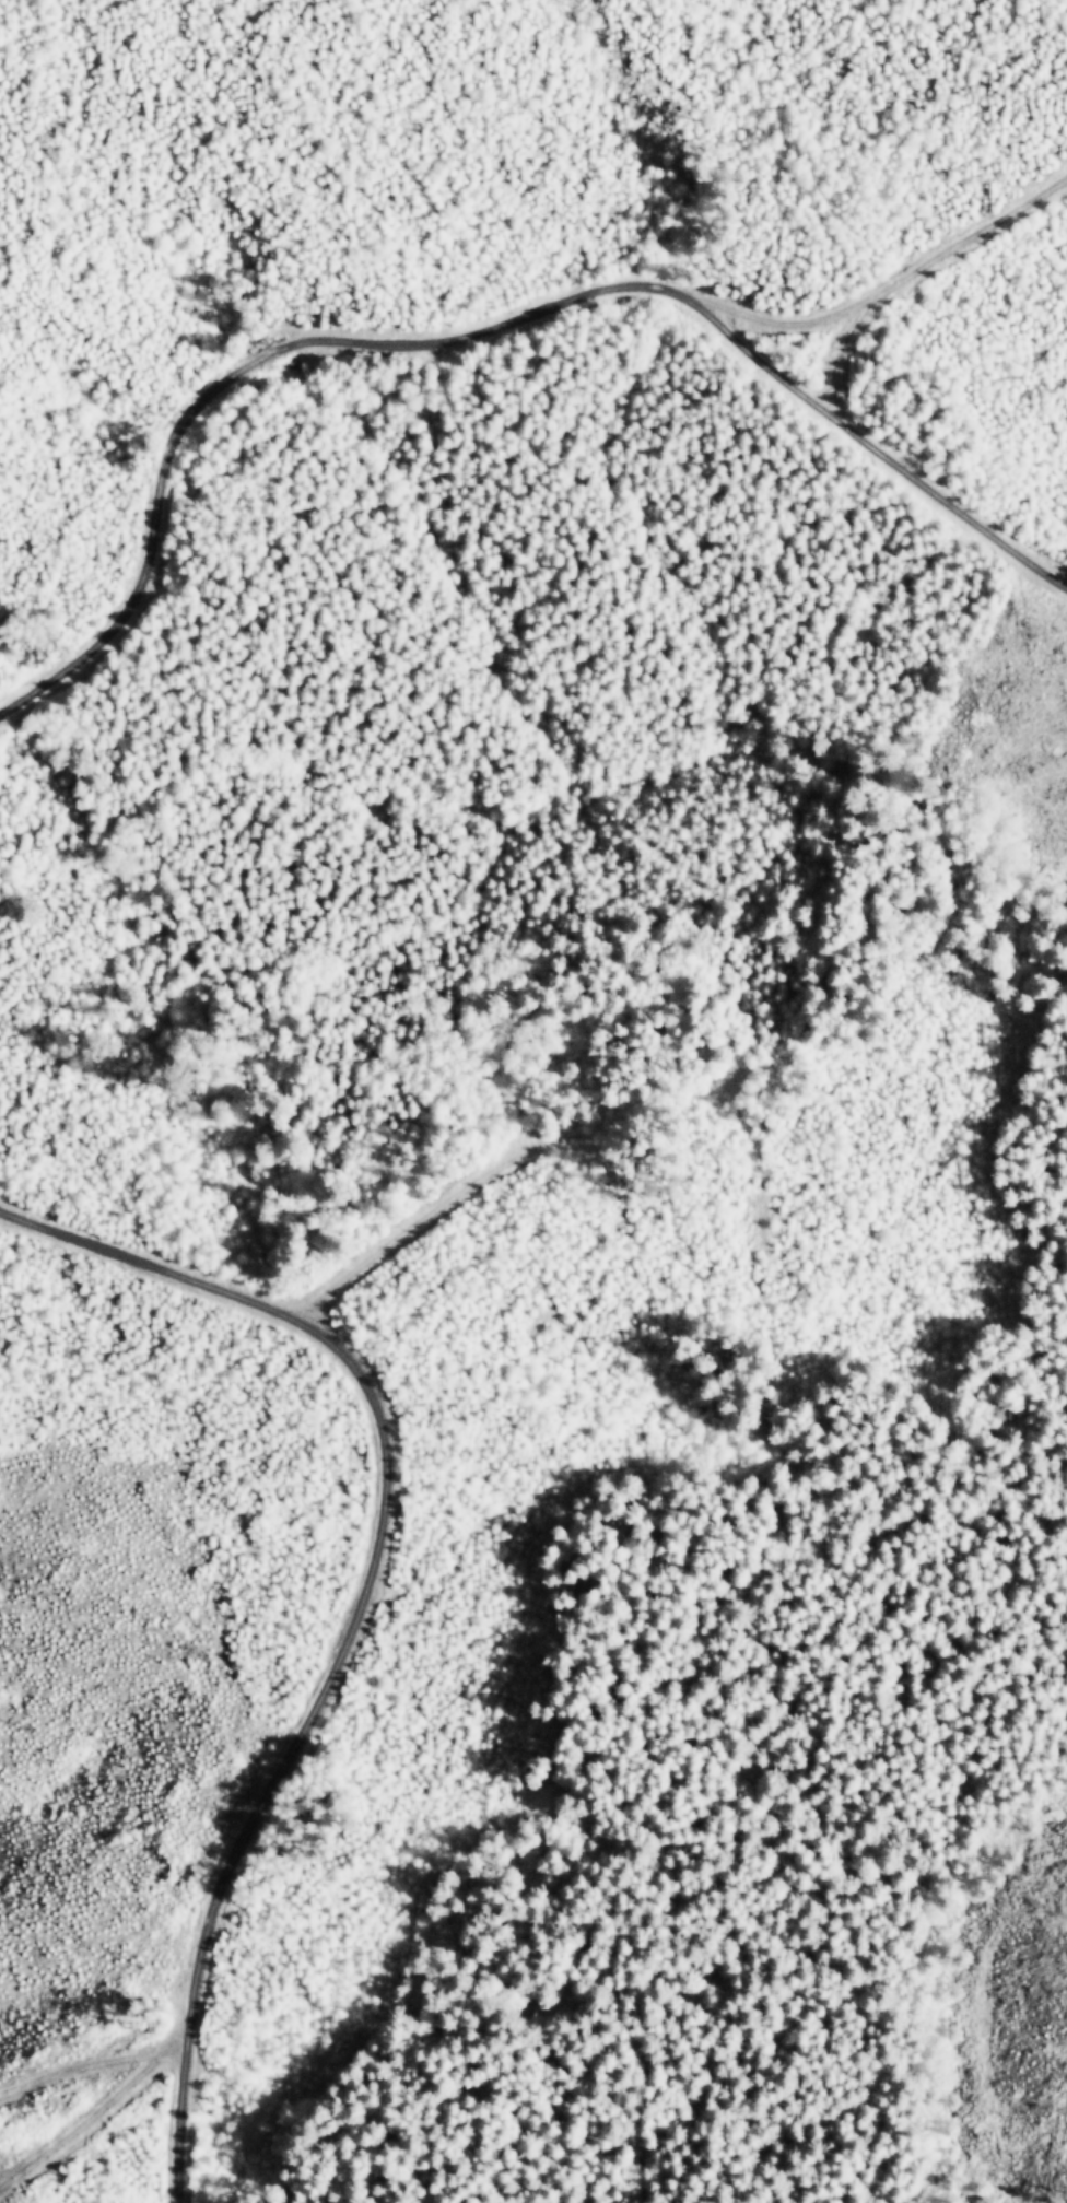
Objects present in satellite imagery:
road: (484, 329)
road: (353, 1605)

